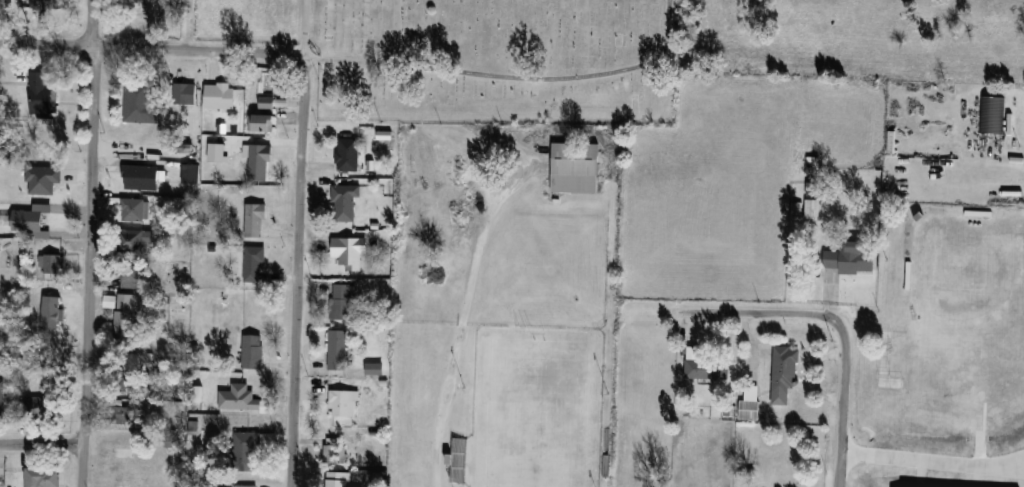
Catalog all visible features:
building: (6, 3)
building: (46, 4)
road: (187, 25)
road: (392, 26)
road: (304, 29)
road: (152, 47)
park: (474, 57)
road: (512, 74)
building: (36, 87)
building: (186, 94)
building: (219, 96)
building: (140, 103)
building: (267, 103)
building: (990, 114)
building: (262, 123)
building: (348, 154)
building: (259, 161)
building: (38, 167)
building: (575, 167)
building: (141, 177)
building: (345, 202)
building: (812, 207)
building: (134, 210)
building: (22, 216)
building: (255, 219)
building: (138, 241)
road: (85, 243)
building: (349, 252)
building: (850, 258)
building: (53, 262)
building: (253, 262)
road: (295, 272)
building: (130, 275)
building: (342, 302)
road: (755, 310)
building: (51, 312)
building: (125, 318)
park: (968, 323)
building: (10, 330)
road: (459, 338)
building: (338, 349)
building: (253, 351)
building: (705, 366)
building: (375, 369)
building: (785, 373)
building: (141, 380)
building: (2, 398)
building: (239, 398)
road: (844, 399)
building: (343, 403)
building: (749, 403)
building: (42, 407)
building: (123, 415)
road: (40, 442)
building: (246, 449)
building: (334, 451)
road: (933, 462)
building: (120, 463)
building: (43, 477)
building: (340, 479)
building: (950, 484)
building: (996, 485)
building: (245, 486)

